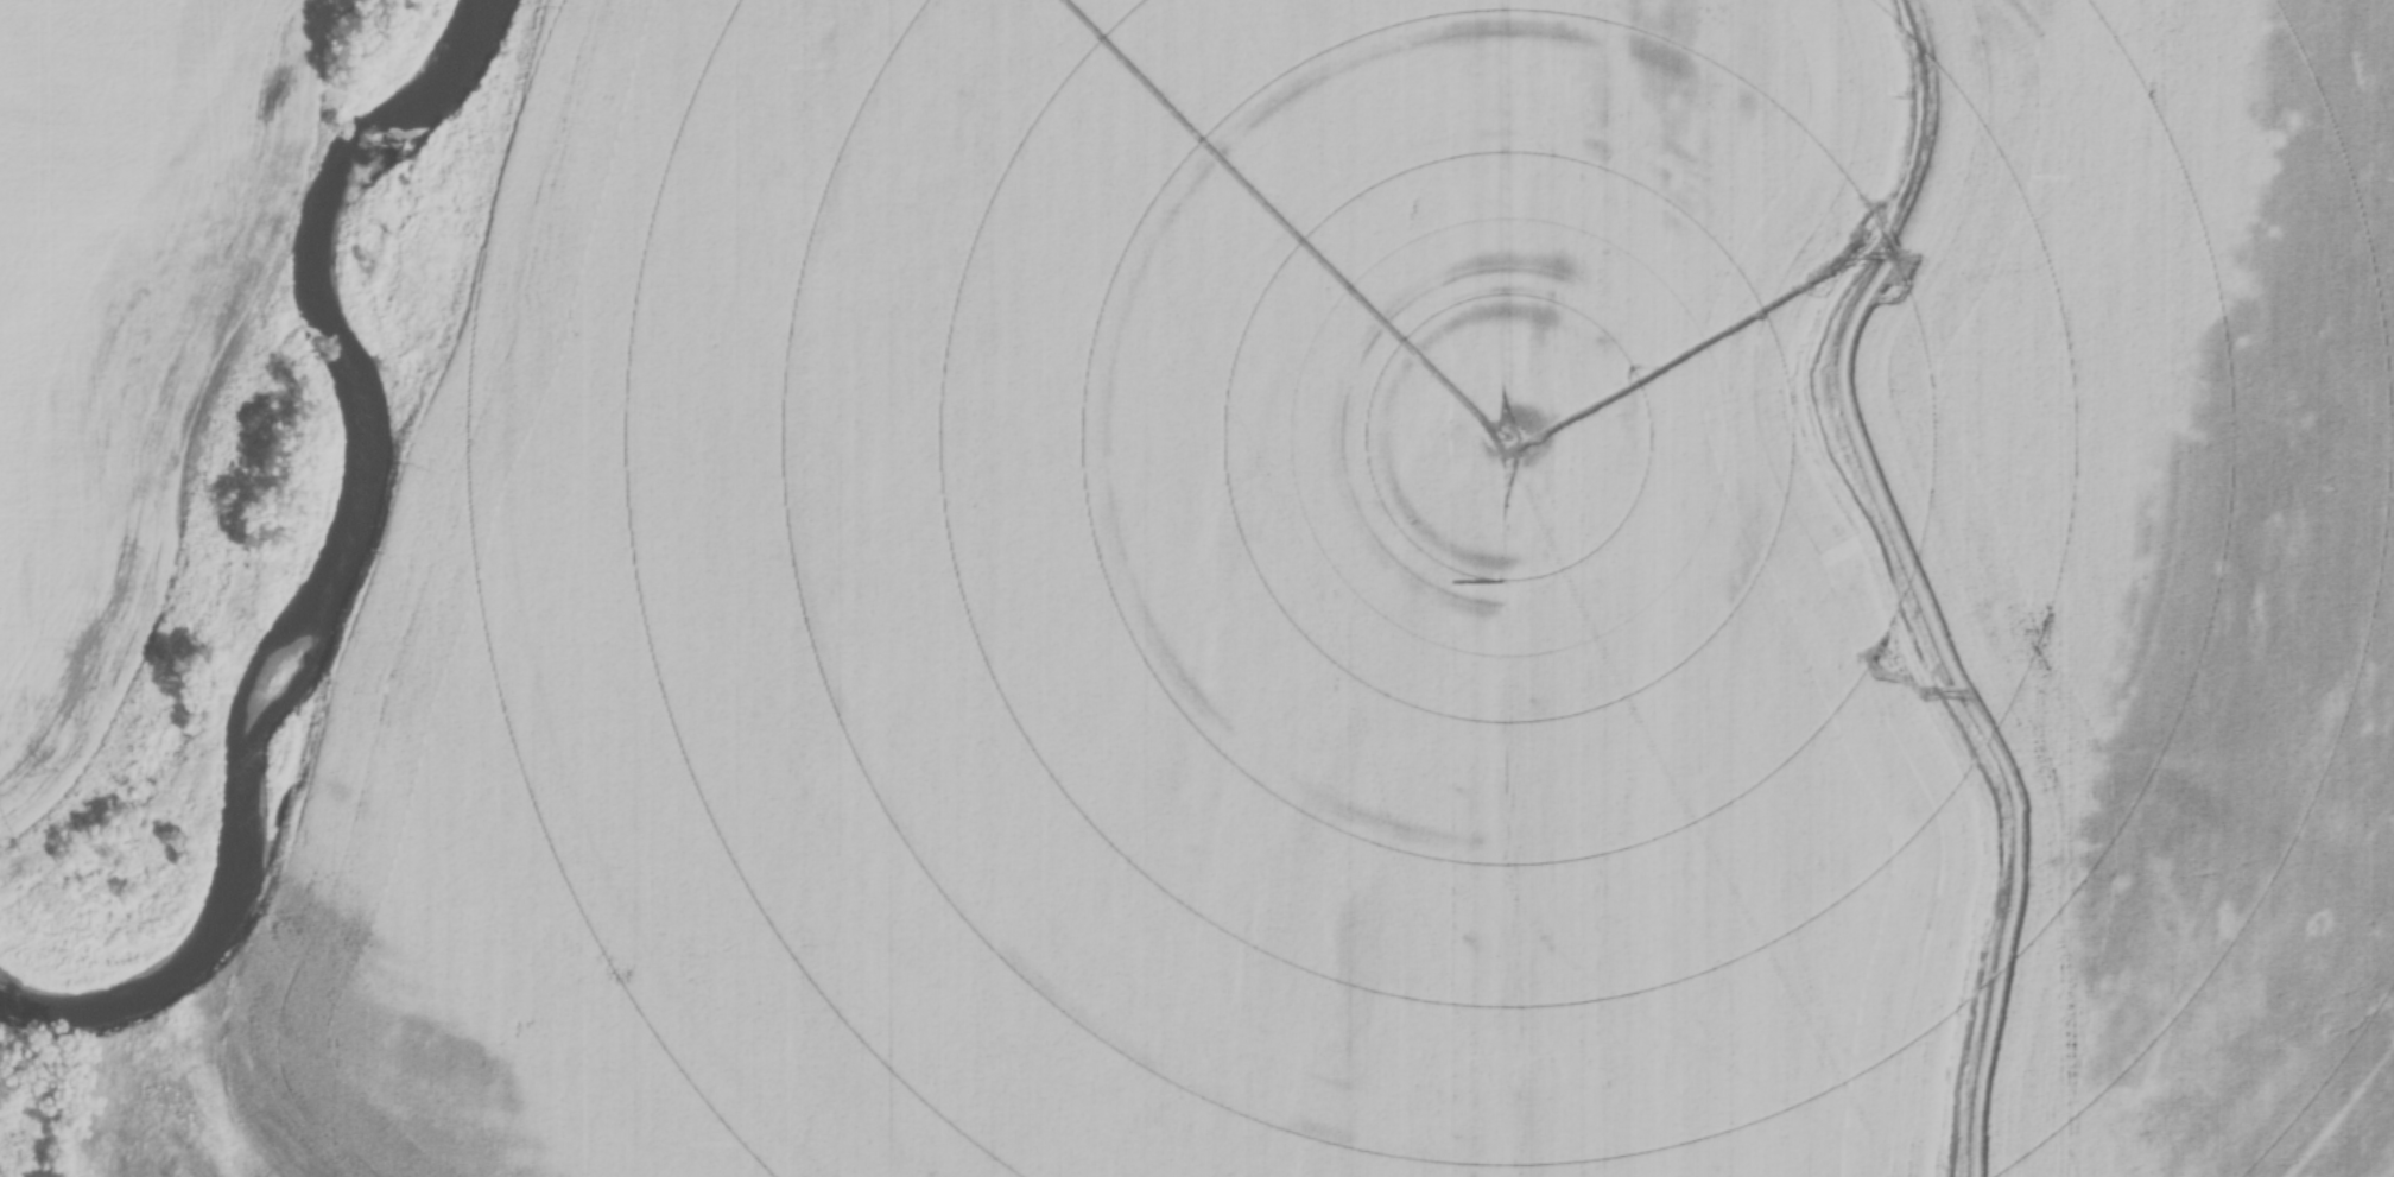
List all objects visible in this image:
river: (346, 563)

